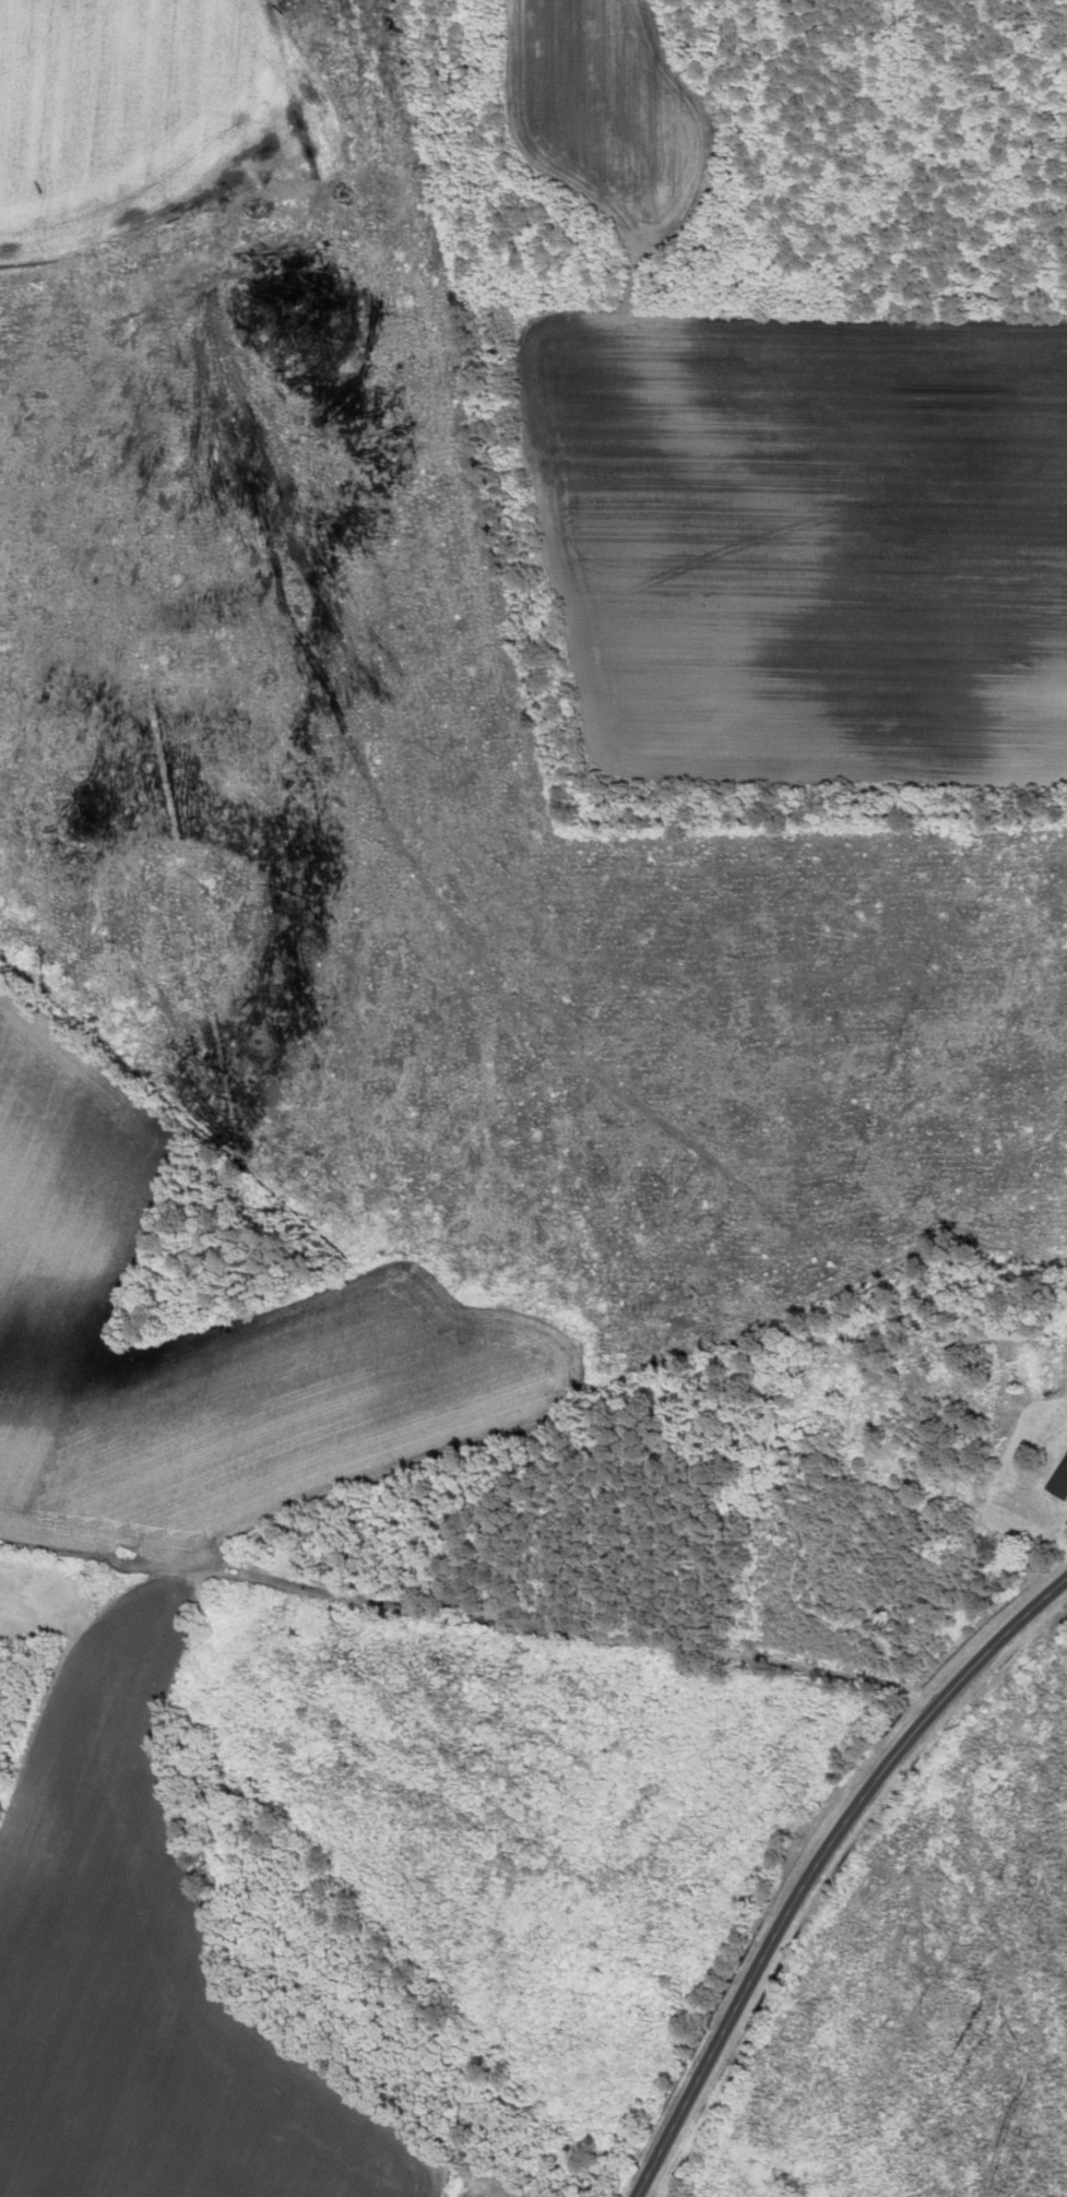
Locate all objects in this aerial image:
building: (1058, 1480)
road: (814, 1861)

